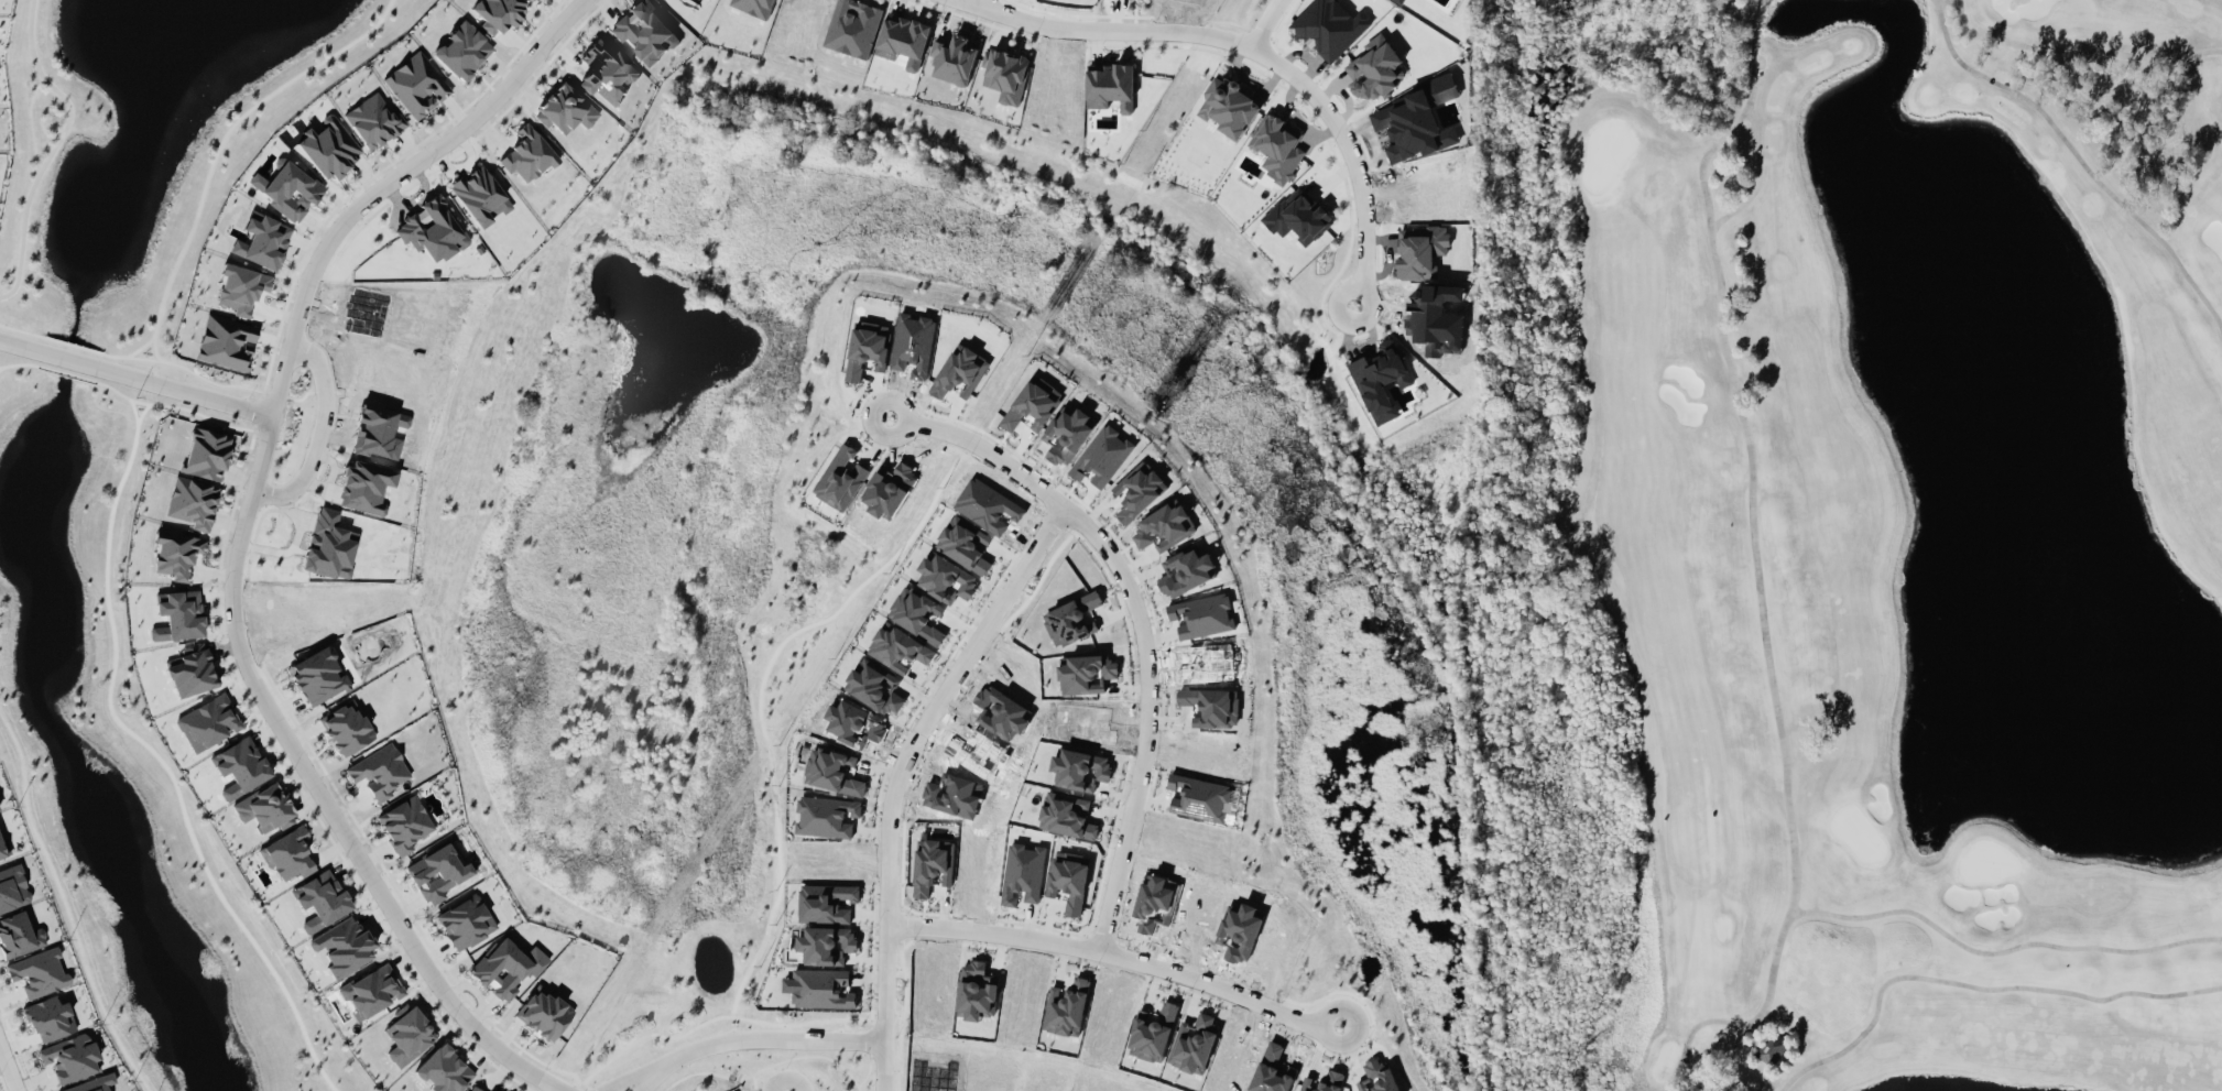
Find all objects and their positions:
building: (1401, 1)
building: (755, 6)
building: (497, 12)
road: (1264, 23)
building: (1330, 26)
road: (1104, 30)
building: (646, 31)
building: (904, 39)
building: (461, 50)
building: (955, 59)
building: (1375, 69)
building: (607, 72)
building: (1006, 74)
building: (416, 84)
building: (1110, 85)
building: (1229, 106)
building: (565, 108)
building: (373, 120)
building: (1277, 145)
building: (328, 146)
road: (54, 148)
building: (527, 154)
road: (1352, 155)
road: (214, 159)
building: (291, 189)
building: (480, 195)
building: (1299, 218)
building: (262, 240)
building: (1420, 251)
building: (241, 287)
road: (23, 330)
building: (226, 341)
road: (75, 345)
road: (20, 346)
building: (868, 348)
road: (70, 360)
road: (14, 363)
road: (1, 366)
road: (66, 372)
building: (960, 373)
building: (1384, 380)
road: (185, 392)
building: (1033, 404)
road: (261, 407)
road: (320, 435)
road: (985, 448)
building: (206, 452)
building: (1102, 456)
building: (841, 478)
building: (192, 501)
building: (1164, 526)
park: (1849, 538)
building: (965, 543)
road: (239, 544)
building: (176, 553)
road: (1028, 559)
building: (946, 578)
building: (177, 614)
building: (1201, 614)
building: (1071, 619)
building: (898, 648)
building: (190, 670)
building: (1086, 674)
building: (317, 675)
building: (206, 721)
building: (346, 727)
road: (145, 743)
building: (239, 766)
building: (378, 771)
building: (837, 772)
building: (1198, 797)
building: (264, 807)
building: (1067, 815)
building: (827, 816)
building: (404, 823)
building: (3, 847)
building: (287, 853)
building: (934, 865)
building: (437, 872)
building: (1069, 880)
building: (12, 887)
building: (322, 899)
building: (828, 902)
road: (66, 904)
building: (465, 921)
building: (827, 943)
building: (342, 945)
building: (505, 967)
building: (37, 972)
road: (1219, 986)
building: (824, 988)
building: (371, 990)
building: (977, 990)
building: (1066, 1007)
building: (543, 1012)
building: (48, 1017)
building: (1152, 1033)
building: (407, 1035)
building: (1194, 1041)
building: (1772, 1047)
building: (69, 1057)
road: (882, 1067)
building: (443, 1069)
road: (631, 1078)
road: (650, 1078)
building: (1377, 1078)
road: (3, 1081)
road: (786, 1081)
building: (90, 1083)
building: (478, 1088)

